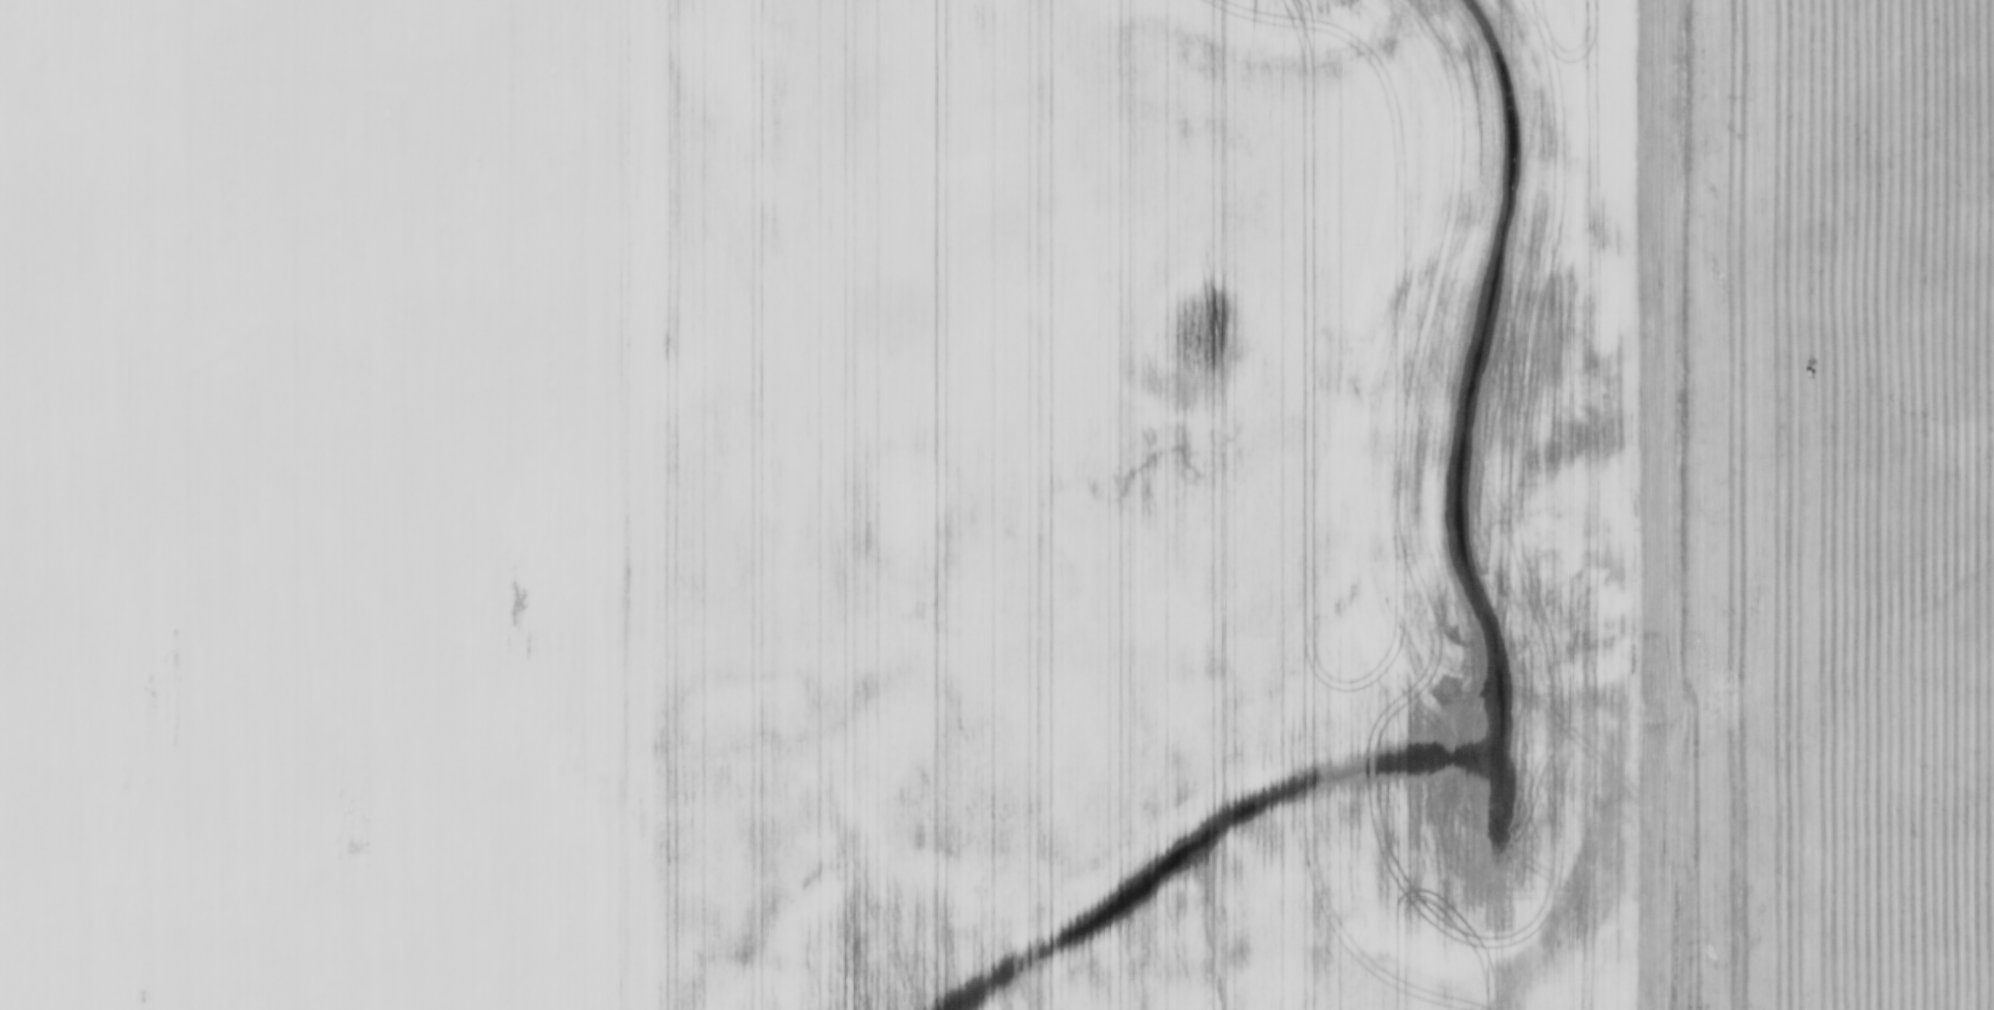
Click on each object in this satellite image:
road: (1656, 504)

